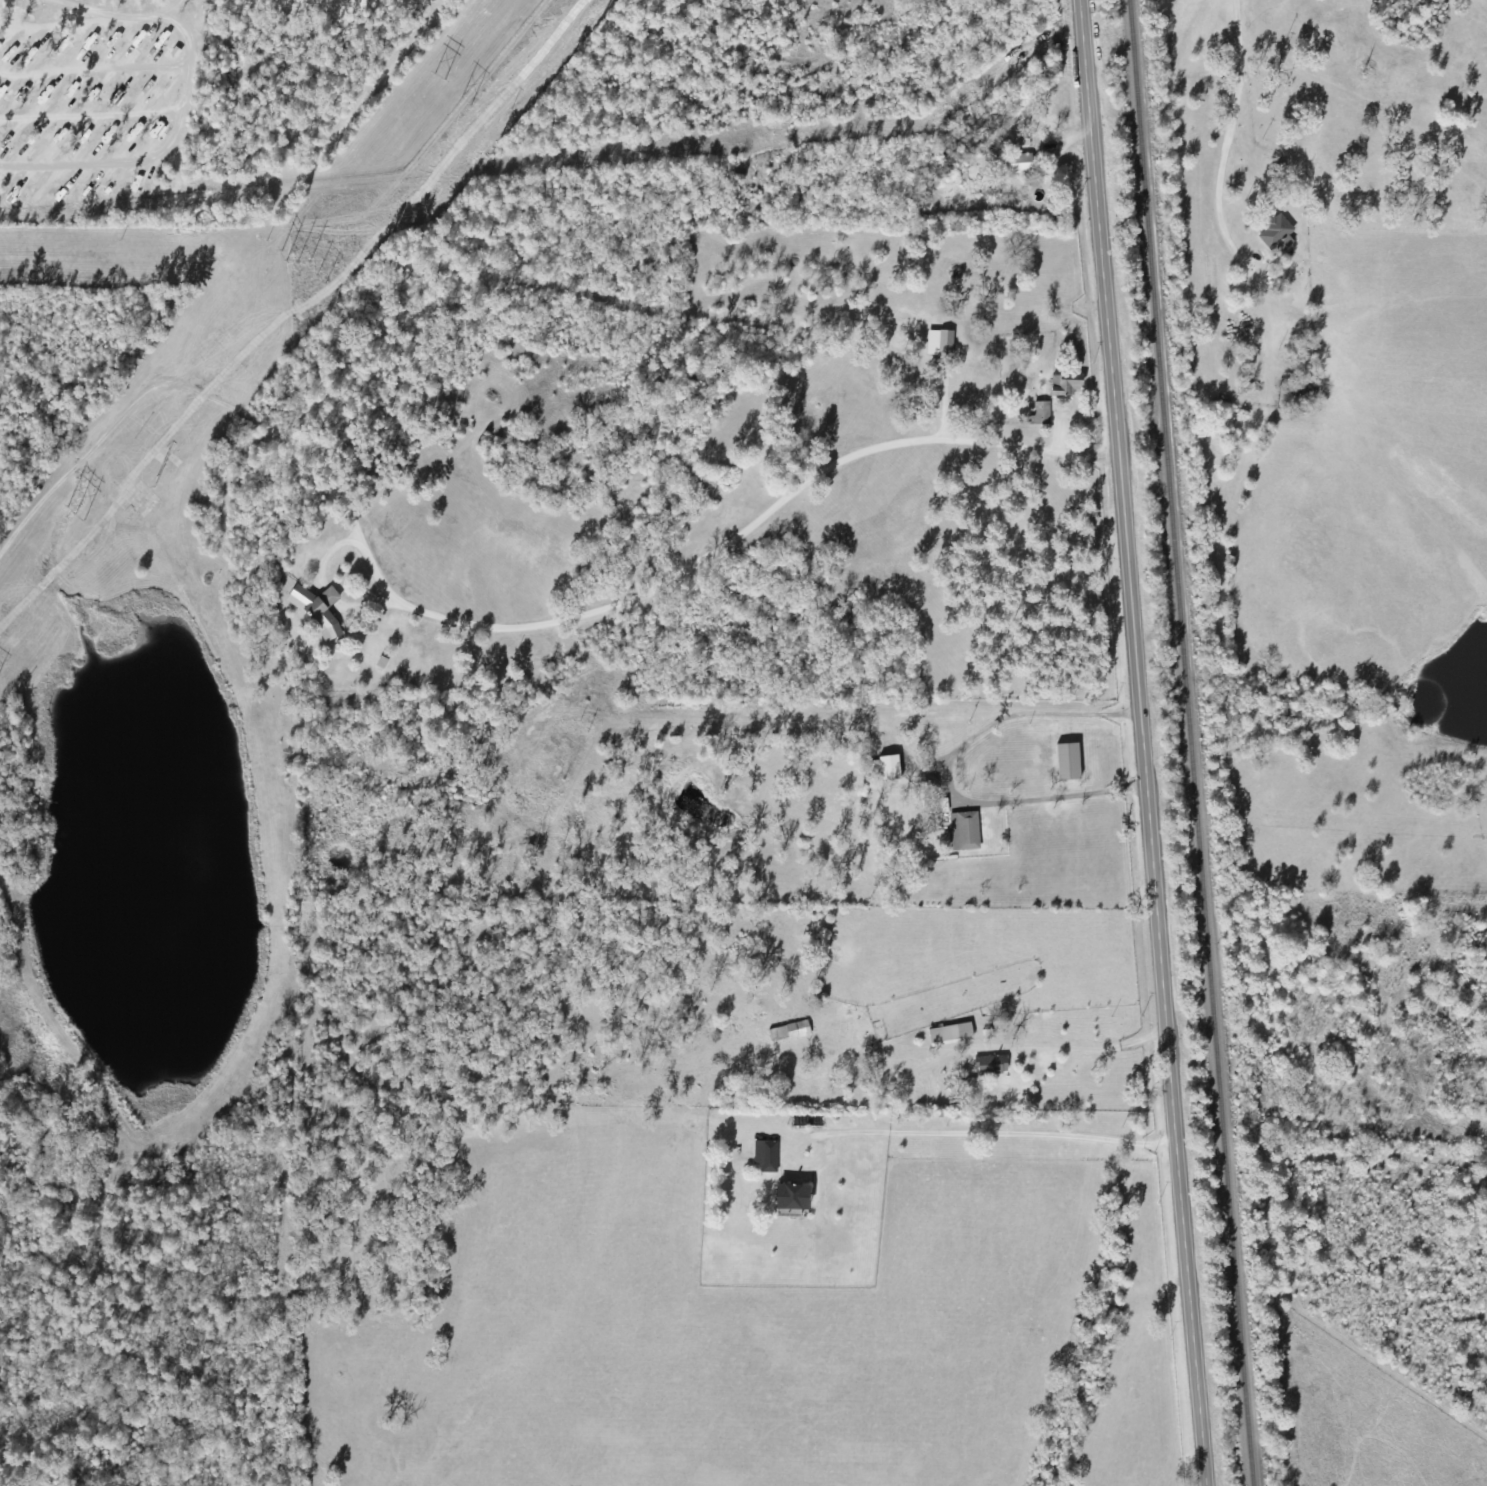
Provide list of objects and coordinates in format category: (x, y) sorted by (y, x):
road: (56, 23)
power tower: (435, 74)
power tower: (464, 104)
road: (181, 108)
road: (1242, 157)
building: (1018, 165)
building: (1274, 235)
power tower: (295, 260)
power tower: (319, 276)
building: (943, 345)
building: (1063, 387)
building: (1301, 390)
building: (1038, 414)
power tower: (149, 478)
power tower: (67, 502)
building: (312, 609)
road: (1142, 743)
railway: (1188, 743)
building: (1066, 763)
building: (887, 769)
building: (936, 807)
building: (962, 833)
building: (787, 1034)
building: (941, 1037)
road: (1091, 1049)
building: (990, 1066)
road: (988, 1132)
building: (764, 1157)
building: (788, 1202)

